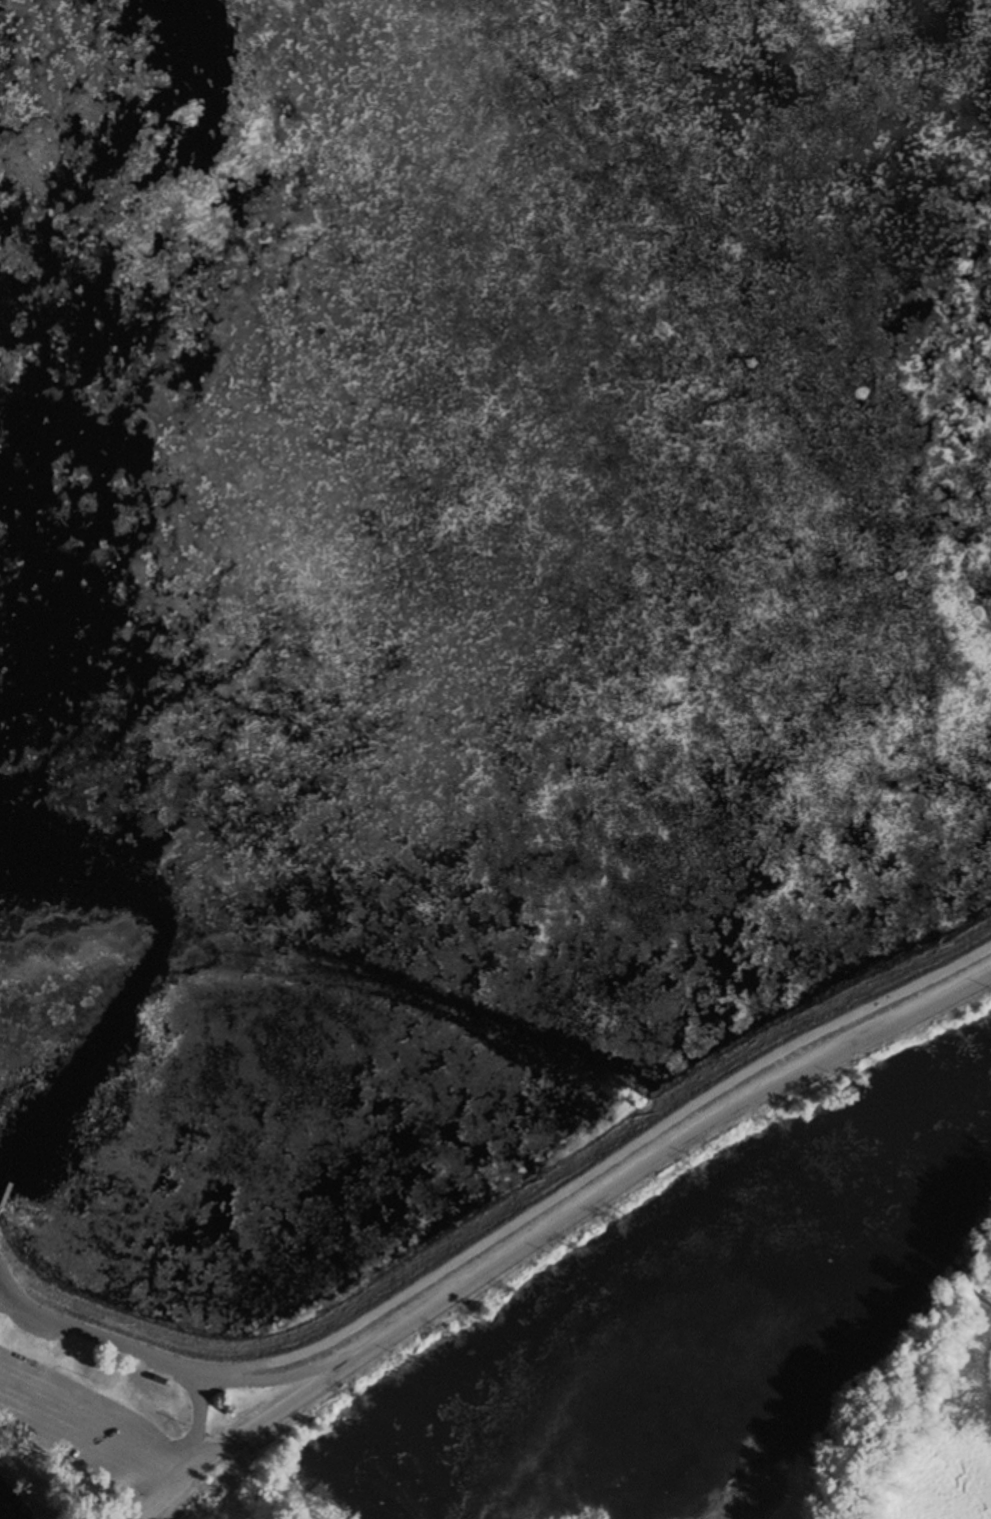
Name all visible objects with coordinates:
road: (599, 1170)
road: (576, 1211)
park: (407, 1284)
road: (16, 1298)
road: (167, 1362)
road: (92, 1418)
road: (194, 1428)
parking lot: (101, 1451)
road: (157, 1496)
road: (191, 1496)

